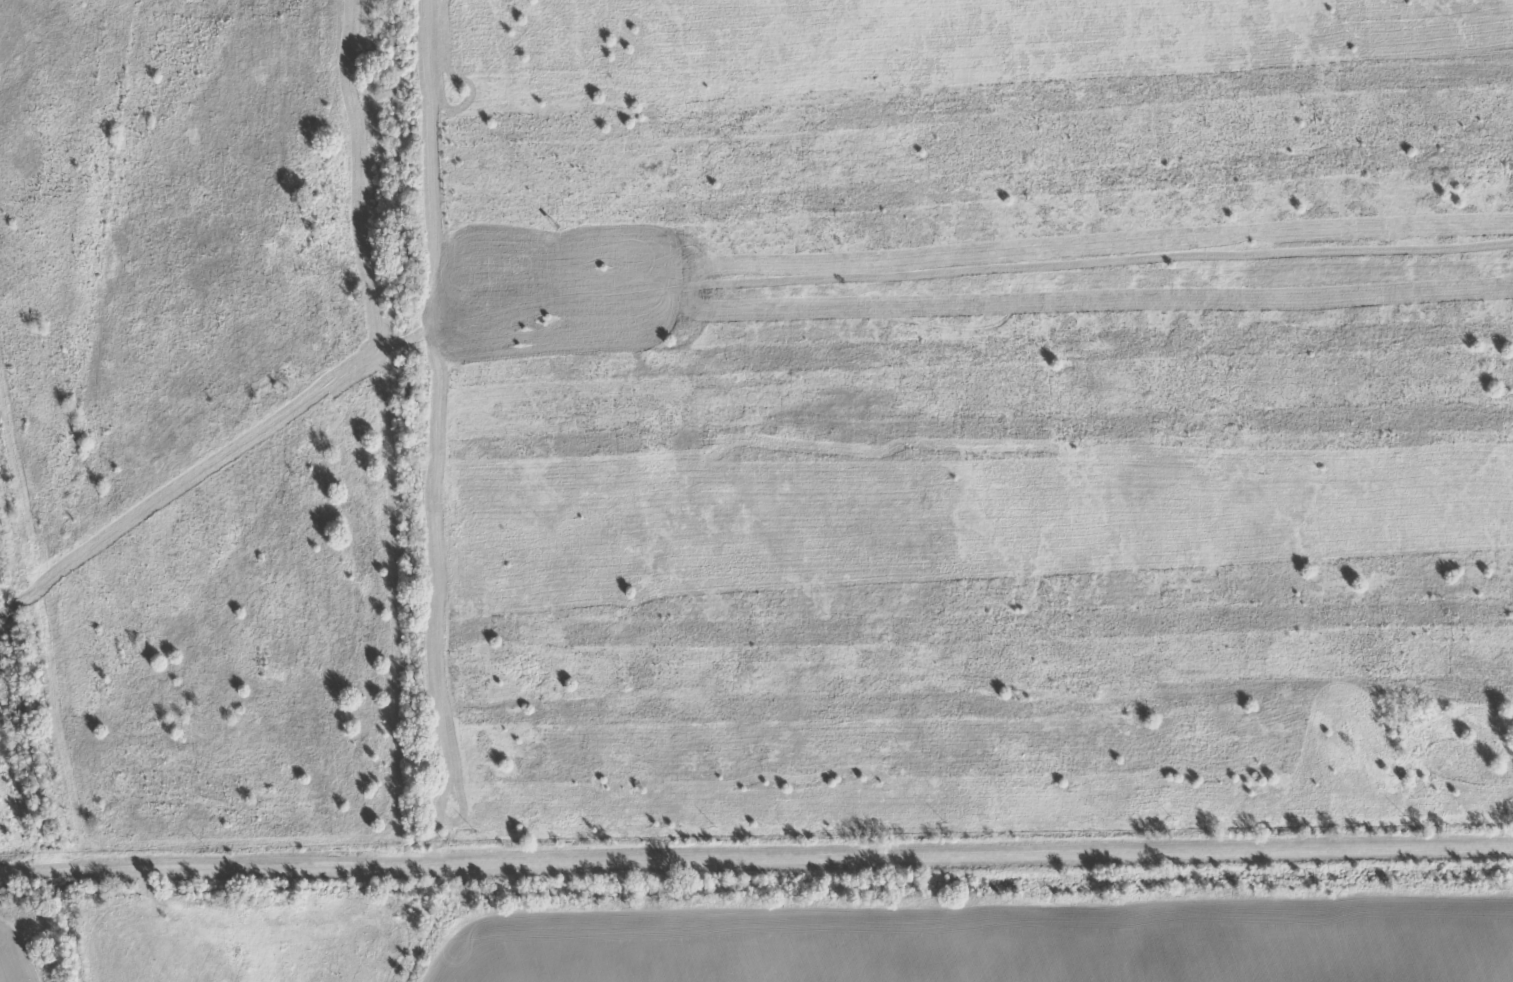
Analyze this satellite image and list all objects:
road: (756, 852)

